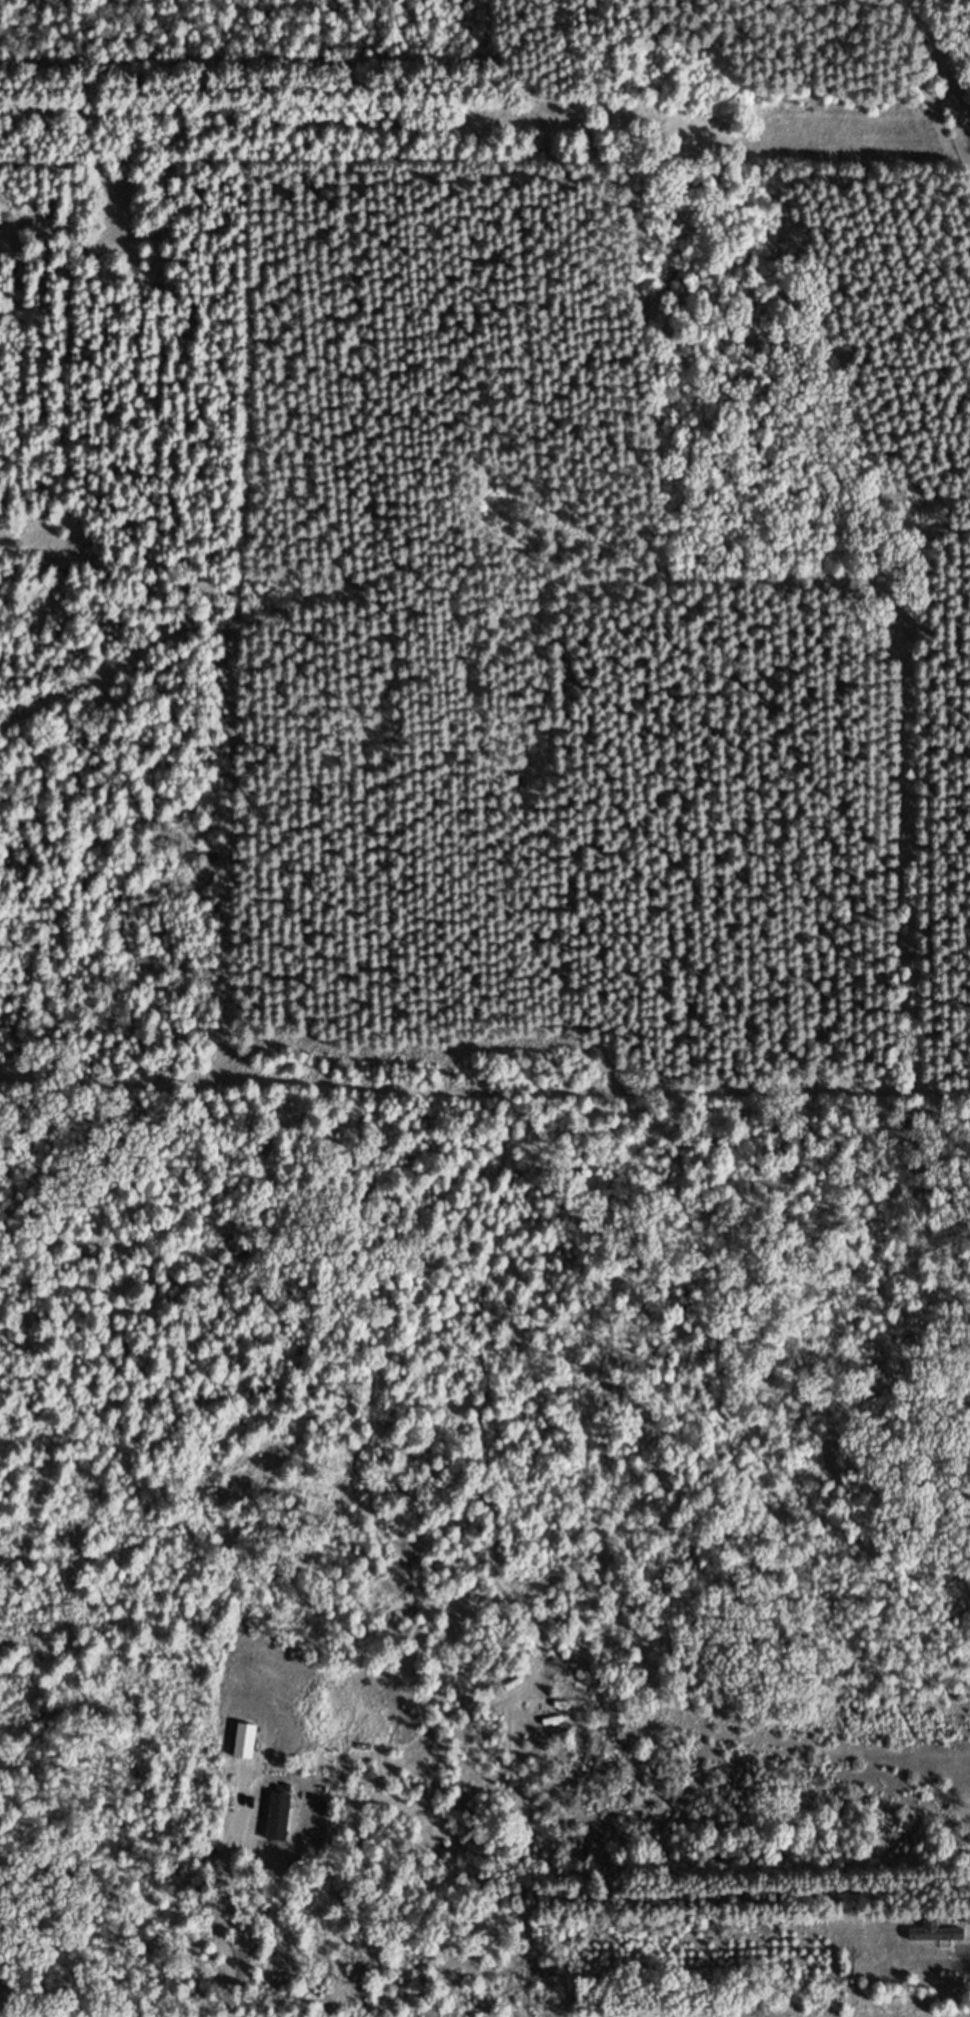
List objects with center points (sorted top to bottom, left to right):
road: (941, 65)
building: (277, 1826)
building: (433, 1852)
building: (934, 1941)

